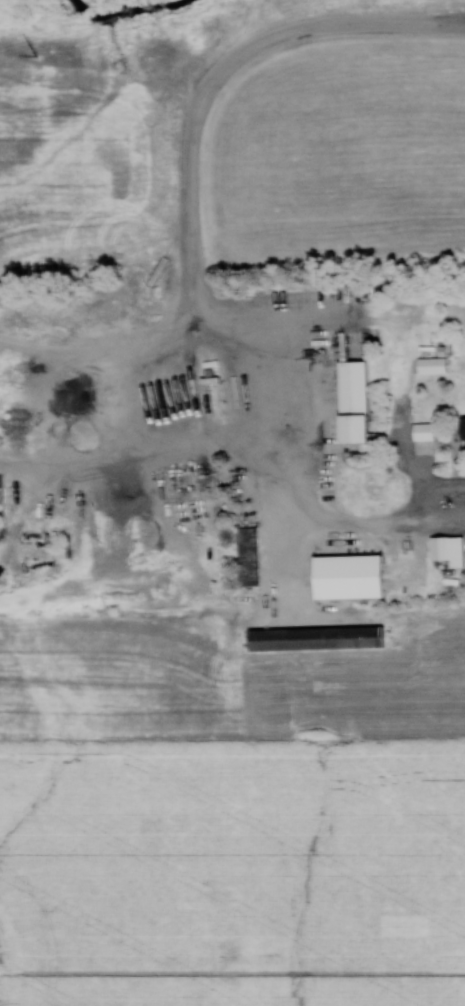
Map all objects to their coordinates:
power tower: (36, 56)
road: (197, 278)
building: (432, 364)
building: (353, 401)
building: (464, 428)
building: (423, 431)
building: (447, 549)
building: (247, 555)
building: (348, 576)
building: (316, 637)

